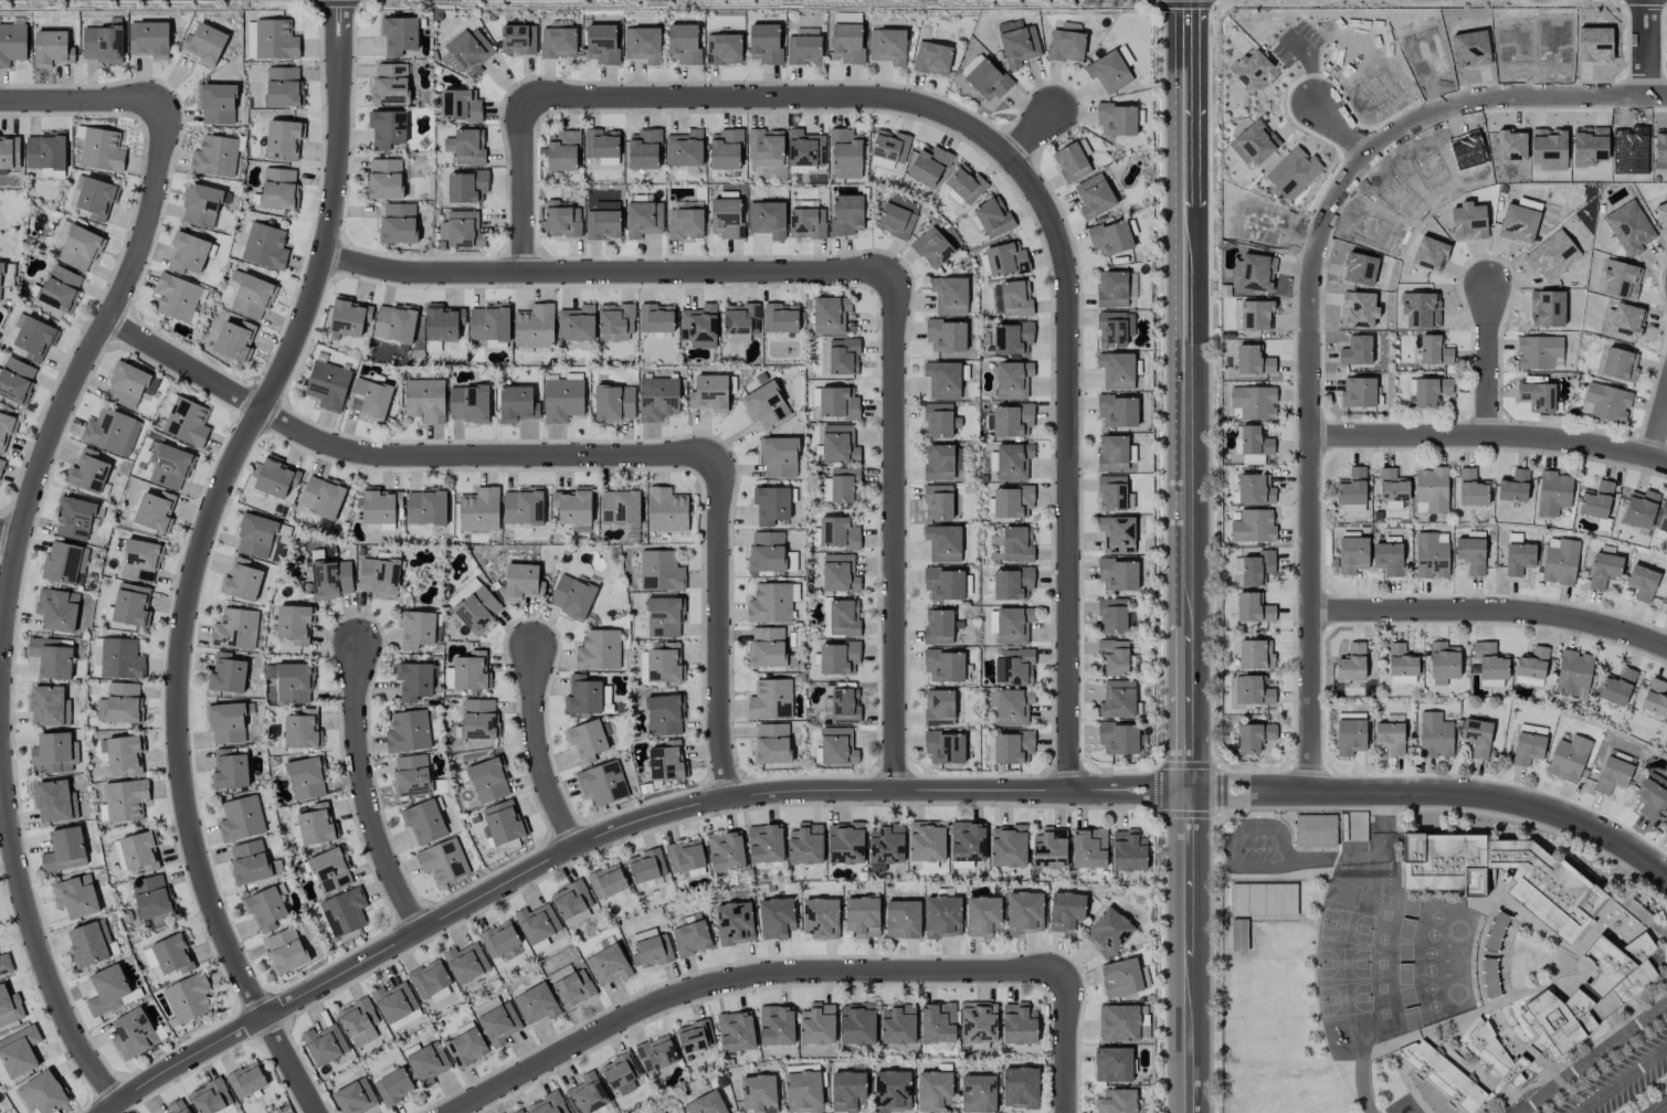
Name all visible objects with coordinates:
building: (399, 34)
building: (149, 39)
building: (518, 39)
building: (274, 40)
building: (1553, 41)
building: (558, 42)
building: (847, 42)
building: (12, 43)
building: (601, 43)
building: (683, 43)
building: (764, 43)
building: (1017, 43)
building: (1066, 43)
building: (1513, 43)
building: (102, 44)
building: (204, 44)
building: (642, 44)
building: (1594, 44)
road: (1648, 45)
building: (887, 46)
building: (52, 49)
building: (722, 49)
building: (803, 49)
building: (1470, 49)
building: (468, 53)
building: (1425, 53)
building: (1123, 55)
building: (931, 57)
building: (1108, 72)
building: (987, 81)
building: (390, 84)
building: (1379, 86)
building: (283, 87)
road: (777, 96)
road: (85, 103)
building: (217, 104)
building: (461, 105)
building: (1117, 119)
road: (1415, 120)
road: (1343, 127)
building: (388, 129)
road: (1034, 130)
building: (283, 140)
building: (466, 146)
building: (1661, 147)
building: (601, 148)
building: (684, 148)
building: (768, 148)
building: (804, 148)
building: (101, 149)
building: (644, 149)
building: (726, 149)
building: (888, 149)
building: (45, 150)
building: (1629, 150)
building: (562, 151)
building: (9, 153)
building: (845, 153)
building: (214, 156)
building: (1070, 162)
building: (928, 166)
building: (53, 173)
building: (384, 179)
road: (525, 183)
building: (966, 183)
building: (466, 187)
building: (278, 188)
building: (1094, 197)
building: (96, 198)
building: (200, 205)
building: (846, 214)
building: (1663, 214)
building: (992, 216)
building: (727, 218)
building: (643, 219)
building: (767, 219)
building: (560, 220)
building: (603, 221)
building: (895, 221)
building: (398, 223)
building: (806, 223)
building: (685, 224)
building: (461, 230)
building: (1110, 239)
building: (264, 246)
building: (932, 247)
building: (80, 248)
building: (188, 253)
building: (1005, 259)
road: (609, 271)
building: (0, 279)
building: (60, 289)
building: (1111, 289)
building: (251, 295)
building: (949, 295)
building: (176, 297)
building: (1015, 298)
building: (830, 315)
building: (348, 317)
building: (656, 318)
building: (780, 318)
building: (740, 321)
building: (394, 322)
building: (442, 322)
building: (489, 322)
building: (615, 322)
building: (577, 324)
building: (698, 324)
building: (534, 327)
building: (1115, 329)
building: (946, 336)
building: (1012, 338)
building: (35, 339)
building: (234, 340)
building: (1434, 350)
building: (1355, 351)
building: (1538, 351)
building: (843, 357)
building: (1254, 360)
road: (1489, 364)
building: (1619, 364)
building: (1117, 370)
building: (15, 380)
building: (942, 380)
building: (1013, 380)
building: (126, 384)
building: (328, 385)
building: (1431, 391)
building: (1359, 392)
building: (709, 393)
road: (1188, 396)
building: (1537, 396)
building: (369, 399)
building: (657, 399)
building: (425, 400)
building: (562, 400)
building: (1254, 402)
building: (1607, 402)
building: (468, 403)
building: (614, 403)
building: (838, 403)
building: (517, 404)
building: (766, 405)
building: (1118, 411)
road: (1657, 420)
building: (939, 421)
building: (1012, 421)
building: (187, 422)
building: (6, 431)
building: (110, 432)
road: (1490, 438)
building: (838, 444)
building: (1255, 445)
building: (1112, 453)
road: (398, 456)
building: (779, 458)
building: (939, 462)
building: (1013, 462)
building: (1, 466)
building: (169, 467)
road: (1070, 467)
building: (88, 471)
building: (276, 478)
building: (844, 485)
building: (1392, 486)
building: (1513, 486)
building: (1352, 487)
building: (1432, 488)
building: (1471, 488)
building: (1255, 489)
building: (826, 490)
building: (1112, 492)
building: (1553, 492)
building: (321, 496)
building: (1596, 500)
building: (938, 501)
building: (1012, 501)
building: (771, 505)
road: (214, 506)
building: (380, 506)
building: (426, 506)
building: (523, 506)
building: (573, 506)
building: (619, 507)
building: (1640, 509)
building: (479, 510)
building: (666, 510)
building: (155, 511)
building: (74, 519)
building: (1253, 526)
road: (897, 529)
road: (10, 532)
building: (838, 532)
building: (1117, 534)
building: (255, 536)
building: (943, 543)
building: (1014, 543)
building: (767, 552)
building: (1352, 554)
building: (1432, 554)
building: (1471, 554)
building: (1518, 556)
building: (1389, 559)
building: (140, 561)
building: (1560, 562)
building: (65, 563)
road: (1312, 564)
building: (1253, 569)
building: (1604, 570)
building: (661, 571)
building: (840, 573)
building: (1118, 575)
building: (378, 576)
building: (331, 579)
building: (241, 580)
building: (523, 582)
building: (945, 583)
building: (1012, 583)
building: (1643, 583)
building: (462, 592)
building: (571, 596)
road: (8, 601)
building: (770, 604)
building: (131, 605)
building: (1254, 608)
building: (56, 609)
building: (477, 609)
building: (1666, 609)
road: (1492, 613)
building: (1111, 616)
building: (664, 617)
building: (844, 617)
building: (294, 623)
building: (1013, 625)
road: (721, 626)
building: (938, 626)
building: (235, 628)
building: (416, 629)
building: (767, 647)
building: (599, 649)
building: (1255, 654)
building: (838, 657)
building: (1114, 657)
building: (120, 659)
building: (1490, 661)
building: (1352, 662)
building: (1443, 662)
building: (665, 664)
building: (1401, 665)
building: (643, 666)
building: (945, 666)
building: (1014, 667)
building: (1531, 667)
building: (472, 671)
building: (226, 674)
building: (1573, 674)
building: (292, 681)
building: (414, 681)
building: (1490, 683)
building: (1617, 687)
building: (1253, 690)
building: (1655, 698)
building: (1117, 699)
building: (770, 700)
building: (120, 703)
building: (842, 706)
building: (49, 707)
building: (1013, 707)
building: (939, 708)
building: (665, 714)
building: (478, 719)
building: (226, 723)
building: (302, 730)
building: (408, 732)
building: (1435, 735)
building: (1255, 736)
building: (1350, 736)
building: (1476, 736)
building: (1390, 738)
building: (1118, 739)
building: (587, 741)
building: (771, 743)
building: (837, 746)
building: (945, 748)
building: (1013, 748)
building: (1527, 749)
road: (537, 752)
building: (53, 753)
building: (125, 754)
building: (1569, 757)
building: (667, 762)
building: (229, 770)
building: (411, 775)
building: (1612, 775)
building: (306, 778)
building: (488, 780)
building: (602, 783)
road: (1437, 794)
road: (365, 795)
building: (1650, 795)
building: (126, 799)
building: (54, 801)
building: (241, 818)
building: (424, 821)
building: (504, 821)
building: (316, 825)
building: (1357, 826)
building: (1665, 828)
building: (1315, 829)
road: (615, 833)
road: (1230, 838)
building: (927, 841)
building: (845, 842)
building: (766, 844)
building: (805, 844)
building: (967, 844)
building: (886, 845)
building: (1007, 846)
building: (1049, 848)
building: (1089, 848)
building: (64, 850)
building: (1128, 850)
building: (140, 851)
building: (726, 851)
road: (1360, 854)
building: (685, 856)
building: (249, 861)
building: (443, 861)
building: (646, 866)
building: (330, 870)
building: (606, 881)
building: (1554, 889)
building: (75, 897)
building: (151, 897)
building: (1262, 900)
building: (572, 902)
building: (265, 909)
building: (344, 912)
building: (1025, 912)
building: (1066, 912)
building: (982, 915)
building: (863, 916)
building: (942, 916)
building: (776, 918)
building: (820, 918)
building: (903, 920)
building: (537, 923)
building: (735, 923)
building: (1496, 931)
building: (1108, 932)
building: (690, 937)
building: (500, 942)
building: (91, 943)
building: (652, 948)
building: (285, 951)
road: (1191, 953)
building: (173, 954)
building: (149, 957)
building: (466, 963)
building: (4, 964)
building: (608, 965)
building: (1614, 969)
road: (743, 975)
building: (1120, 977)
building: (429, 978)
building: (570, 986)
building: (107, 990)
building: (188, 998)
building: (394, 1003)
building: (536, 1004)
building: (10, 1007)
building: (979, 1021)
building: (1558, 1021)
building: (358, 1022)
building: (938, 1022)
building: (1118, 1022)
building: (499, 1024)
building: (817, 1024)
building: (857, 1024)
building: (898, 1024)
building: (1019, 1024)
building: (777, 1025)
building: (736, 1031)
building: (133, 1033)
building: (695, 1036)
road: (1067, 1042)
building: (324, 1045)
building: (466, 1046)
building: (19, 1052)
building: (1491, 1052)
building: (656, 1053)
road: (1595, 1058)
building: (428, 1063)
road: (292, 1064)
building: (1112, 1064)
building: (621, 1074)
building: (245, 1080)
road: (1624, 1080)
building: (1439, 1081)
building: (393, 1086)
building: (1020, 1088)
building: (891, 1090)
building: (803, 1091)
building: (847, 1091)
building: (935, 1091)
building: (757, 1092)
building: (43, 1093)
building: (978, 1093)
building: (211, 1096)
building: (355, 1096)
building: (1117, 1101)
building: (547, 1104)
building: (706, 1104)
building: (178, 1106)
building: (519, 1111)
road: (1666, 1112)

